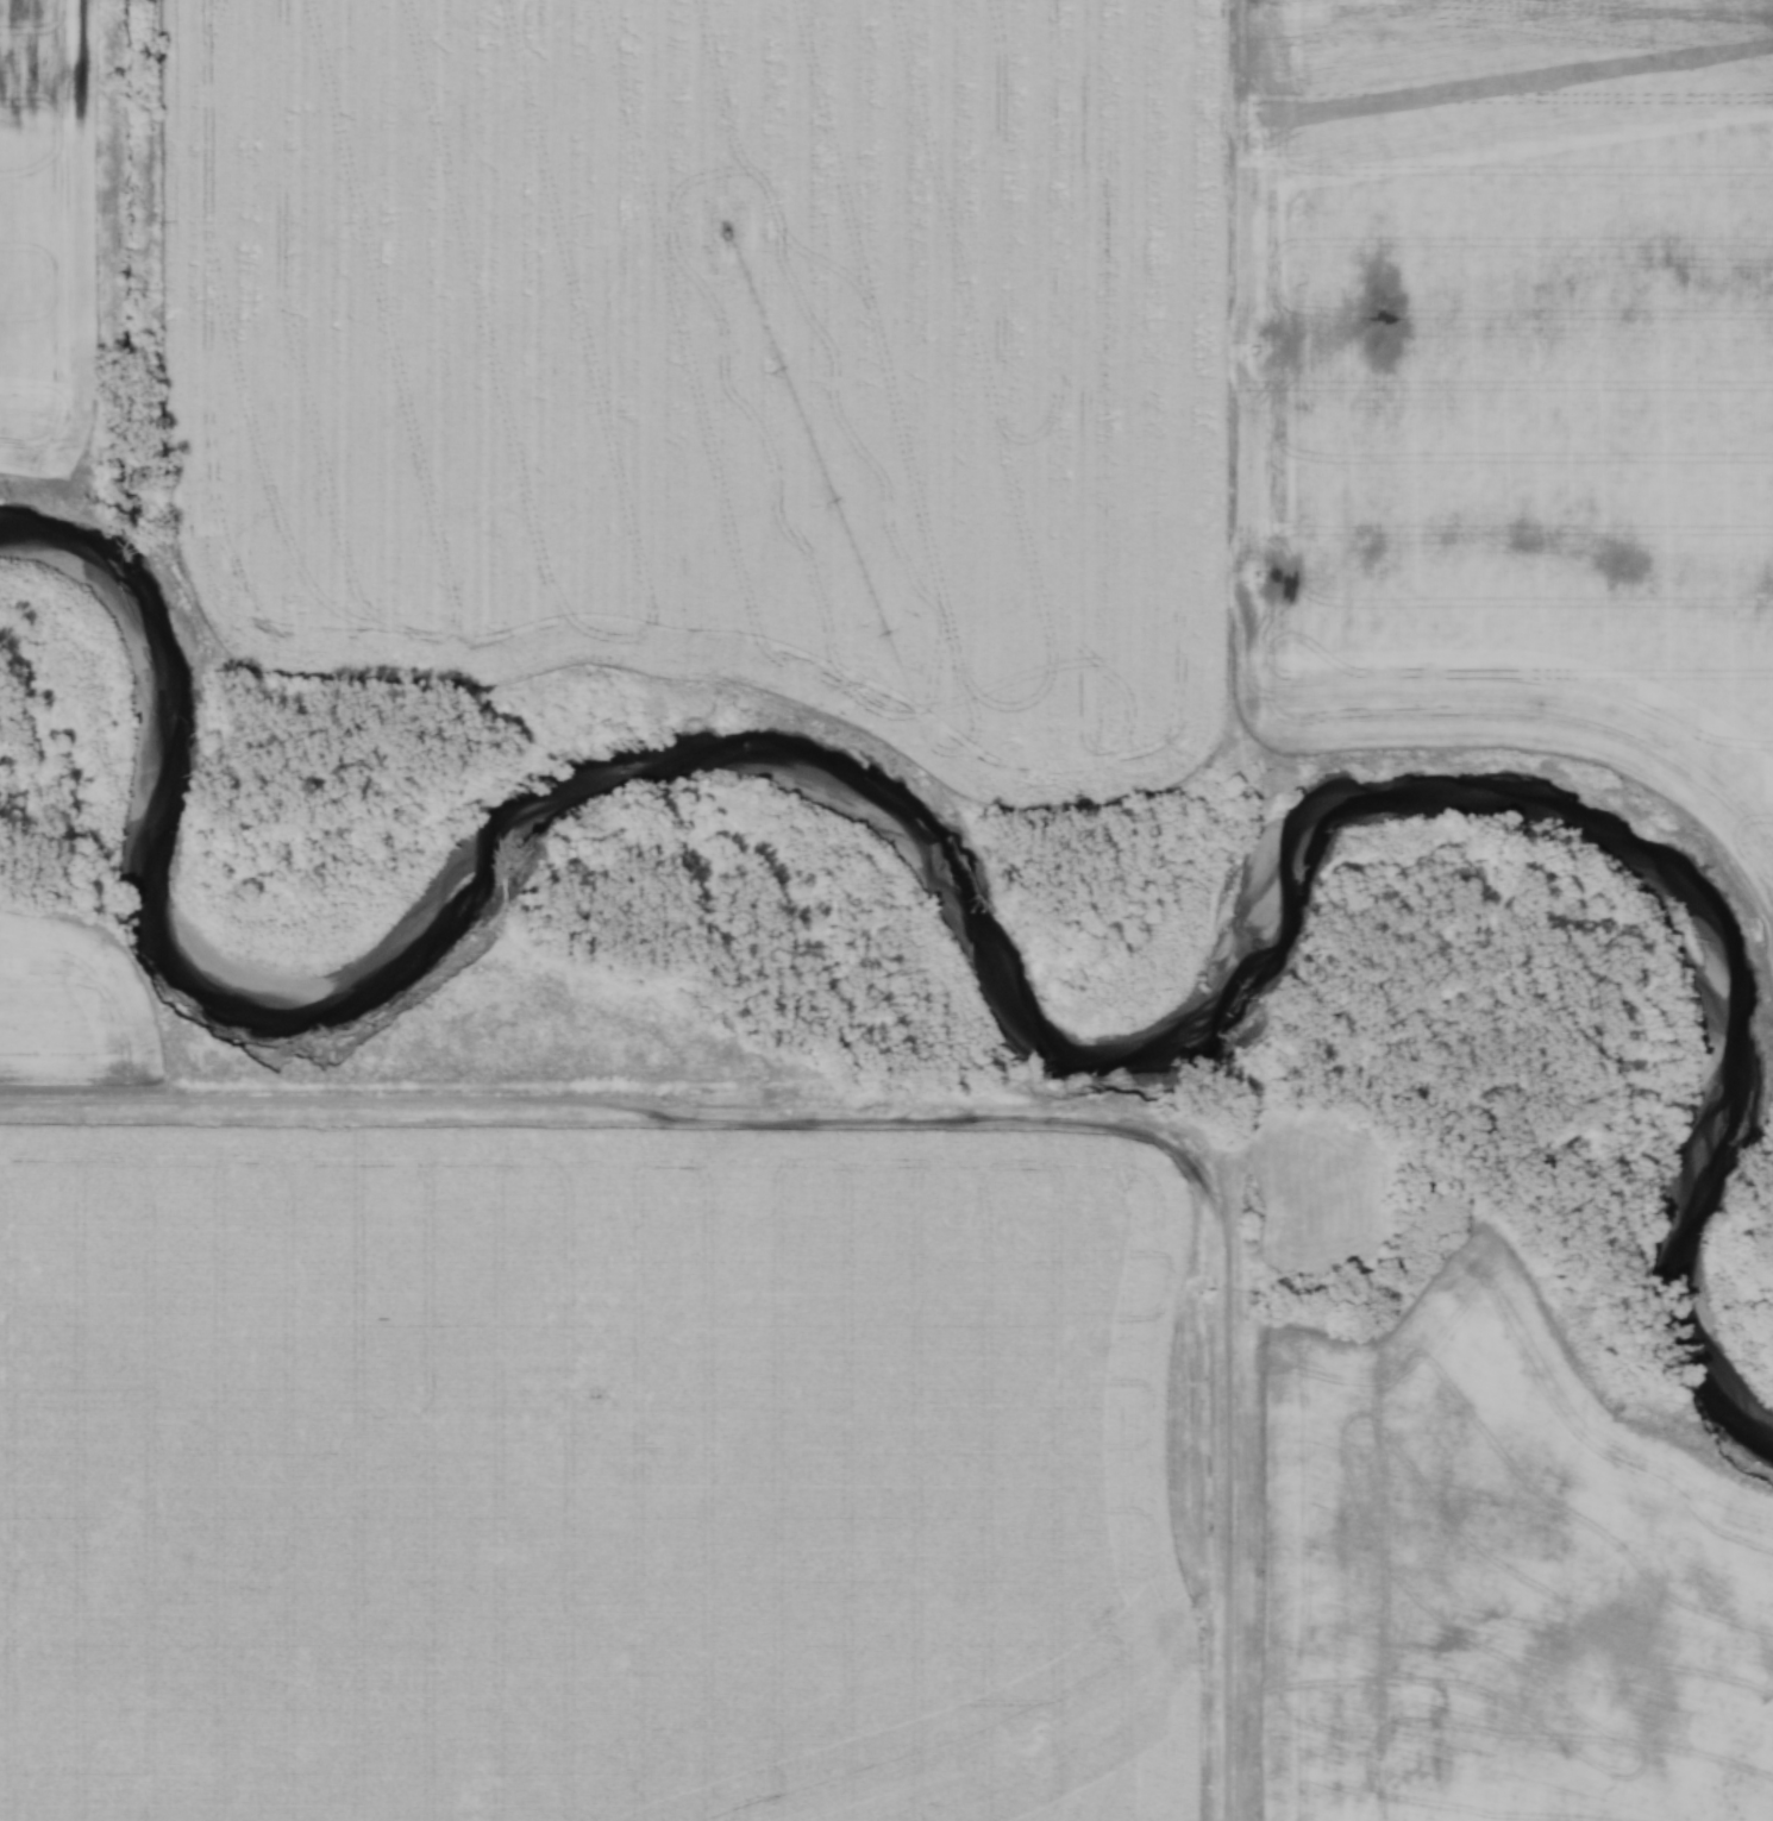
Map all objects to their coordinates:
river: (982, 950)
road: (601, 1100)
road: (1230, 1475)

